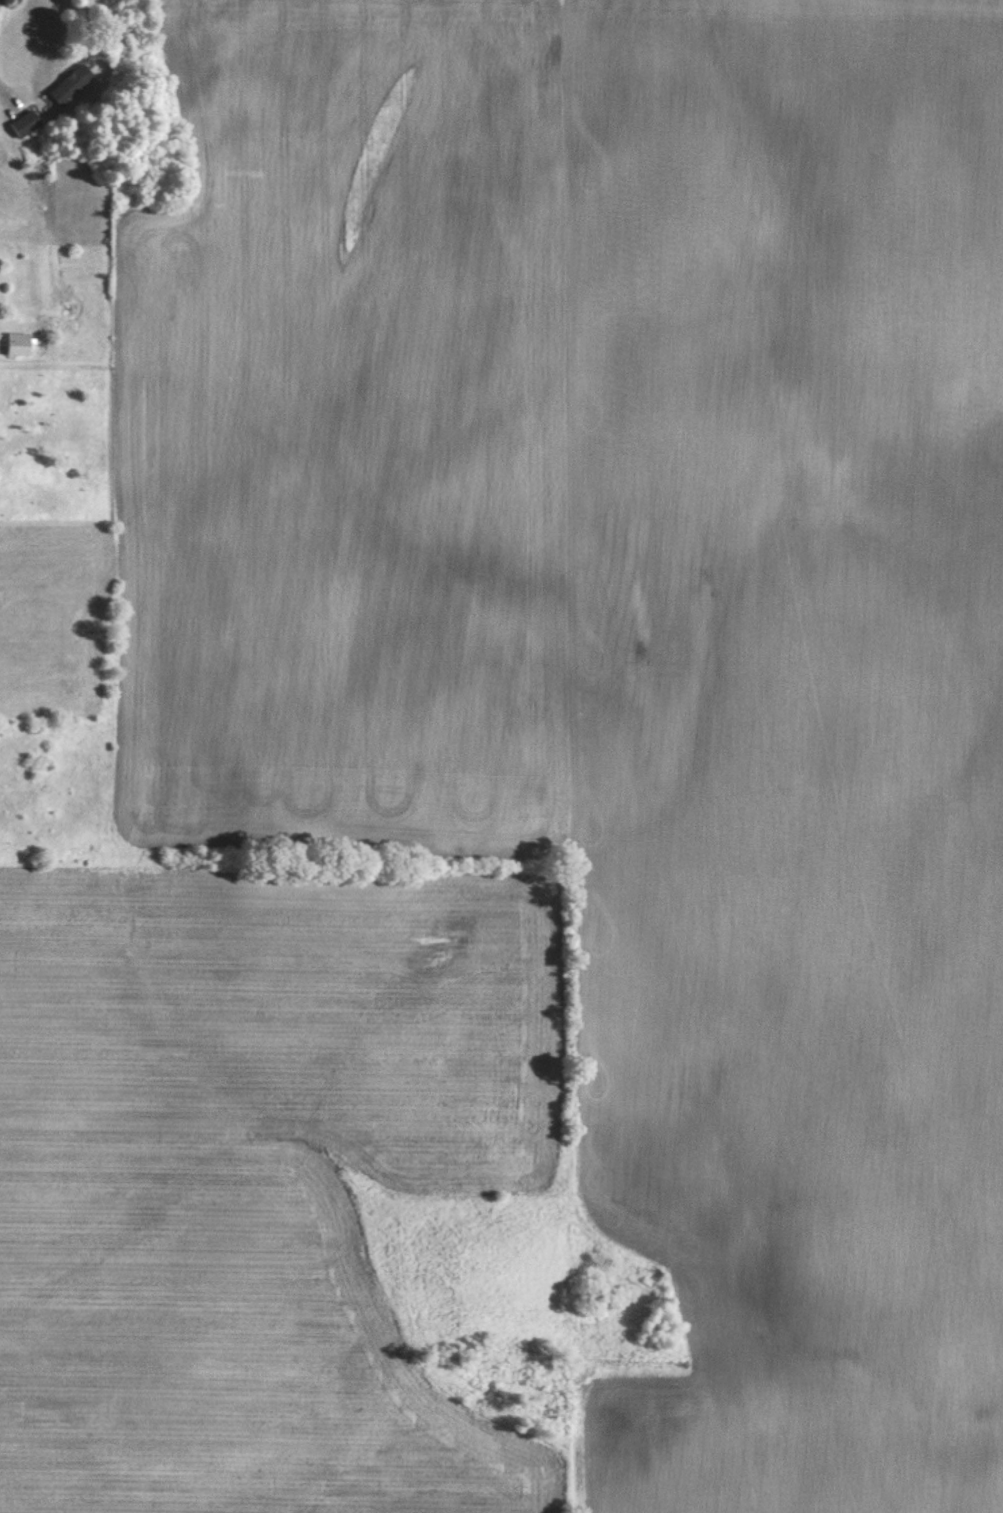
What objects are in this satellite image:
building: (70, 84)
road: (3, 96)
building: (25, 122)
building: (17, 342)

